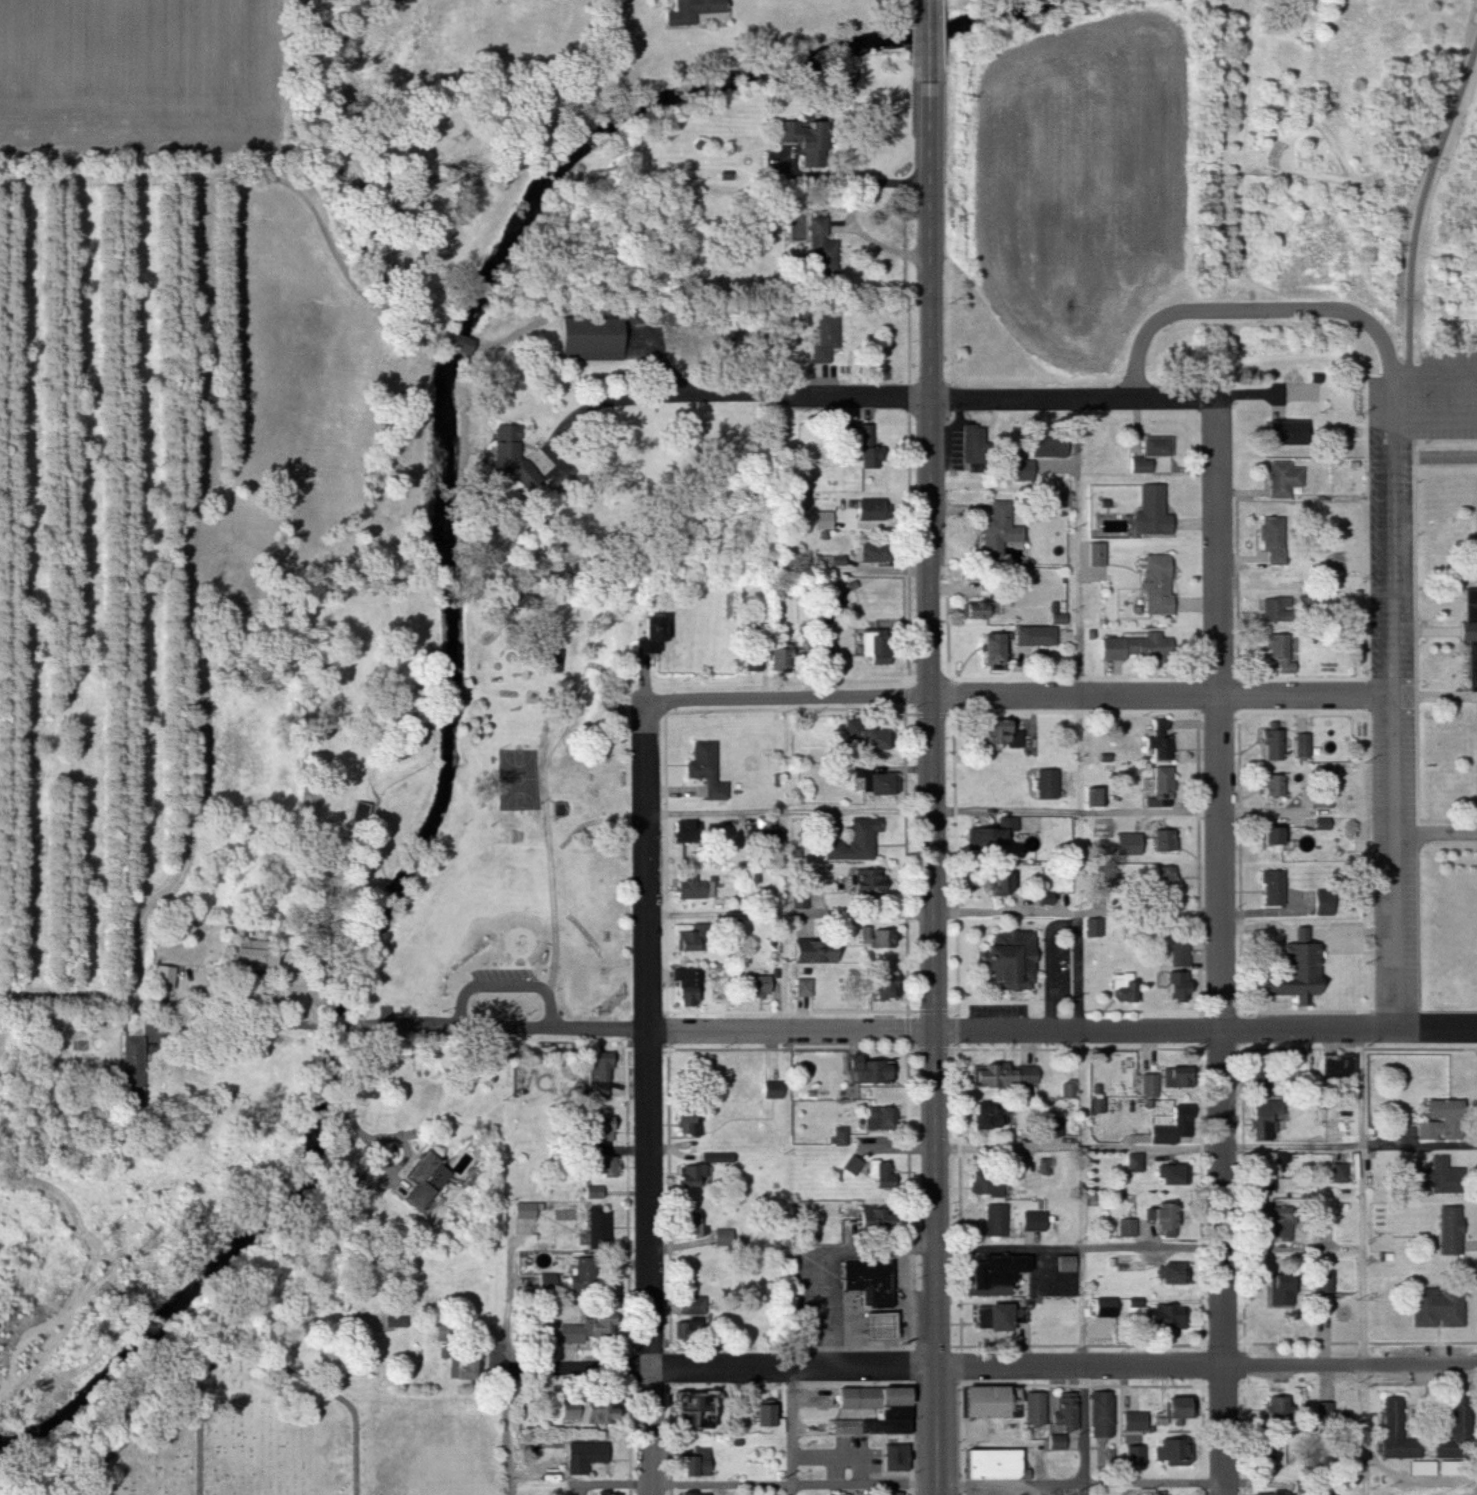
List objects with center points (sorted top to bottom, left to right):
building: (699, 6)
river: (1013, 14)
road: (931, 40)
building: (796, 133)
road: (930, 212)
building: (822, 251)
road: (1259, 310)
building: (826, 336)
building: (589, 339)
building: (453, 341)
road: (948, 398)
park: (1459, 398)
road: (595, 407)
building: (1285, 432)
building: (973, 444)
building: (1049, 444)
building: (1157, 446)
road: (1435, 455)
building: (512, 457)
building: (1283, 478)
building: (869, 509)
building: (1151, 512)
building: (998, 530)
building: (1273, 540)
road: (1082, 547)
building: (869, 551)
building: (1096, 554)
building: (1156, 584)
building: (1305, 605)
building: (972, 609)
building: (1276, 609)
building: (648, 628)
building: (1470, 632)
building: (1035, 635)
building: (869, 644)
building: (1137, 647)
building: (991, 648)
building: (1278, 652)
building: (811, 657)
building: (784, 659)
road: (931, 688)
road: (1163, 695)
road: (789, 698)
road: (1396, 710)
building: (998, 734)
building: (870, 739)
building: (1273, 744)
building: (1303, 746)
building: (1160, 748)
building: (754, 762)
building: (706, 769)
park: (520, 778)
building: (874, 780)
building: (1162, 782)
building: (1046, 784)
building: (1274, 786)
road: (935, 813)
park: (533, 822)
road: (1437, 834)
building: (990, 835)
building: (1271, 836)
building: (1137, 837)
building: (1164, 840)
building: (856, 841)
building: (868, 880)
building: (1166, 882)
building: (999, 883)
building: (694, 887)
building: (1273, 888)
road: (935, 914)
building: (1093, 927)
road: (1223, 948)
building: (812, 951)
building: (1179, 954)
building: (260, 956)
building: (1009, 959)
building: (1292, 970)
building: (1176, 981)
building: (589, 984)
building: (758, 985)
building: (684, 986)
building: (803, 987)
building: (880, 987)
building: (1121, 988)
road: (234, 999)
road: (306, 1023)
road: (364, 1028)
road: (928, 1031)
road: (236, 1038)
building: (140, 1060)
building: (1338, 1068)
building: (862, 1071)
building: (1260, 1073)
building: (600, 1074)
building: (1003, 1075)
building: (1176, 1077)
building: (1149, 1086)
building: (771, 1090)
building: (1069, 1090)
road: (650, 1097)
building: (990, 1116)
building: (880, 1118)
building: (1264, 1119)
building: (1441, 1120)
building: (686, 1122)
building: (1169, 1128)
building: (600, 1129)
road: (364, 1135)
building: (840, 1136)
road: (1421, 1145)
road: (1150, 1147)
building: (722, 1158)
building: (1134, 1163)
building: (1266, 1164)
building: (601, 1165)
building: (853, 1166)
building: (1045, 1166)
building: (1339, 1173)
building: (693, 1174)
building: (880, 1175)
building: (1173, 1175)
building: (1436, 1178)
building: (434, 1182)
building: (986, 1184)
building: (1264, 1186)
road: (1085, 1204)
building: (524, 1210)
building: (1322, 1211)
building: (864, 1218)
building: (995, 1220)
building: (1034, 1220)
building: (1162, 1220)
building: (691, 1224)
building: (1277, 1224)
building: (598, 1227)
building: (1126, 1228)
building: (1450, 1231)
building: (722, 1237)
road: (1150, 1253)
road: (819, 1257)
building: (1130, 1262)
road: (1366, 1262)
road: (936, 1263)
building: (1065, 1263)
building: (992, 1271)
building: (584, 1274)
building: (1168, 1275)
building: (867, 1281)
building: (1323, 1281)
building: (1281, 1291)
road: (514, 1304)
building: (694, 1304)
building: (1104, 1307)
building: (1438, 1307)
building: (999, 1315)
building: (1163, 1316)
road: (913, 1322)
road: (876, 1323)
building: (876, 1326)
building: (688, 1327)
building: (577, 1331)
road: (850, 1341)
building: (461, 1364)
road: (995, 1367)
building: (1013, 1396)
building: (979, 1400)
building: (1174, 1407)
building: (1034, 1408)
building: (688, 1409)
building: (1064, 1411)
building: (597, 1412)
building: (893, 1413)
building: (1100, 1413)
building: (1281, 1415)
building: (765, 1416)
building: (1333, 1419)
building: (1134, 1421)
road: (509, 1431)
building: (1396, 1431)
building: (1457, 1431)
road: (796, 1432)
building: (1057, 1441)
park: (297, 1447)
building: (1273, 1451)
building: (584, 1455)
building: (695, 1461)
building: (988, 1463)
road: (581, 1481)
road: (940, 1485)
building: (1145, 1492)
building: (607, 1493)
building: (693, 1493)
building: (883, 1493)
building: (1275, 1493)

